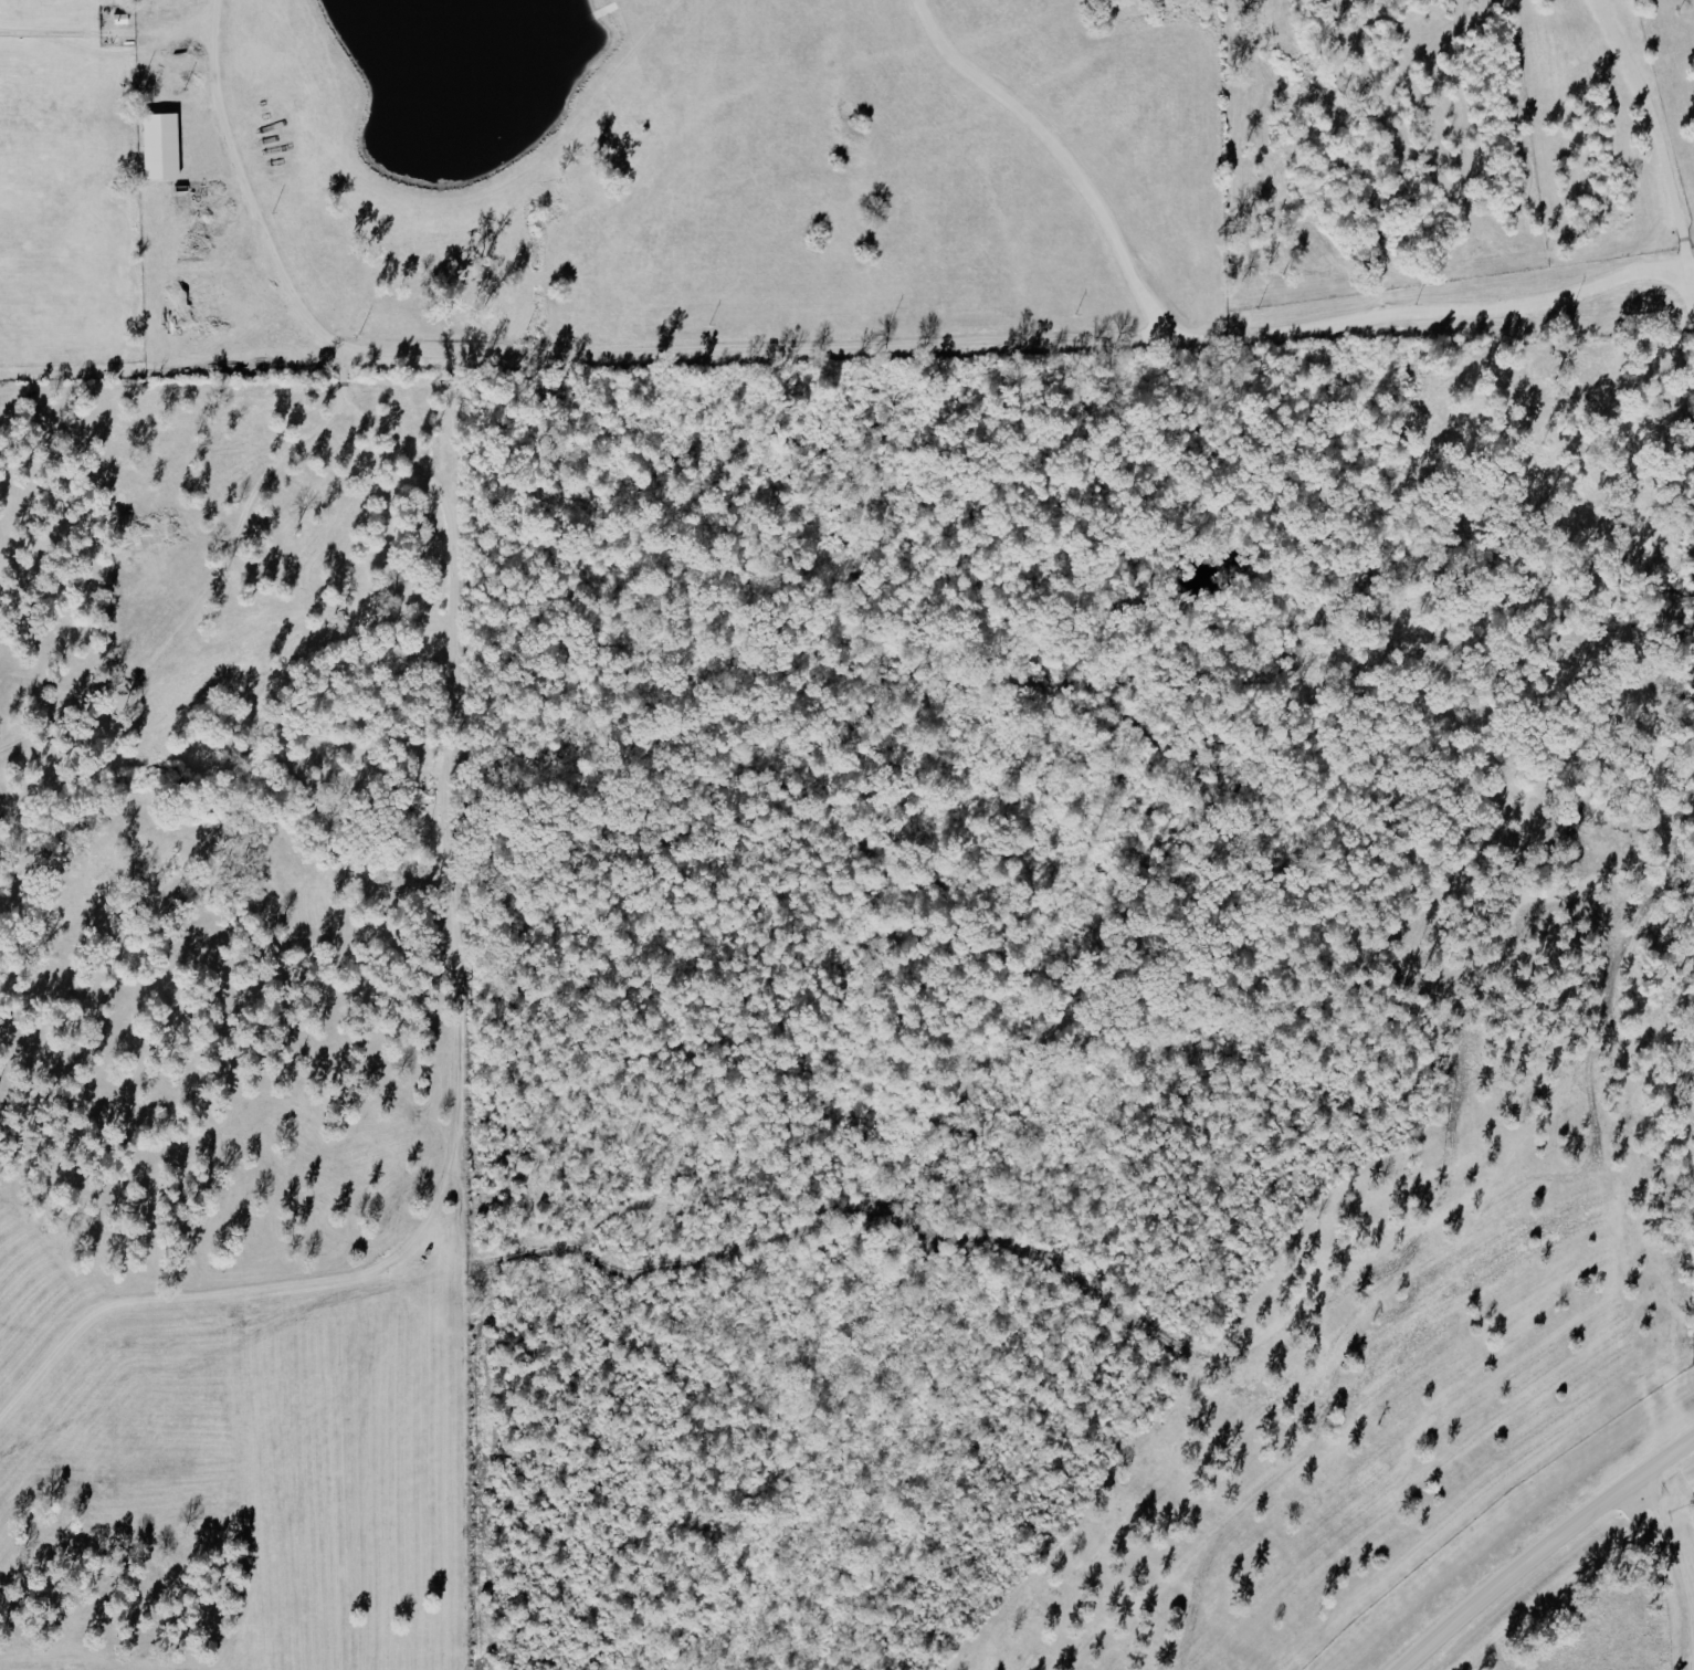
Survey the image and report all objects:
road: (115, 31)
road: (1662, 129)
building: (165, 147)
road: (1543, 1548)
road: (1680, 1571)

